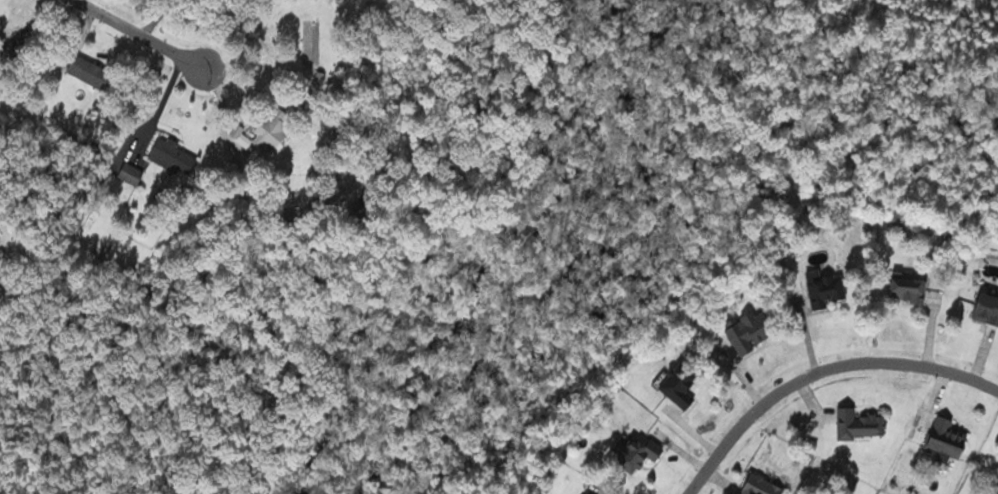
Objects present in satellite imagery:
road: (142, 34)
building: (92, 72)
building: (173, 156)
building: (132, 174)
building: (825, 287)
building: (910, 287)
building: (987, 307)
building: (749, 330)
road: (822, 371)
building: (681, 384)
building: (859, 424)
building: (948, 439)
building: (639, 450)
building: (762, 485)
building: (589, 493)

